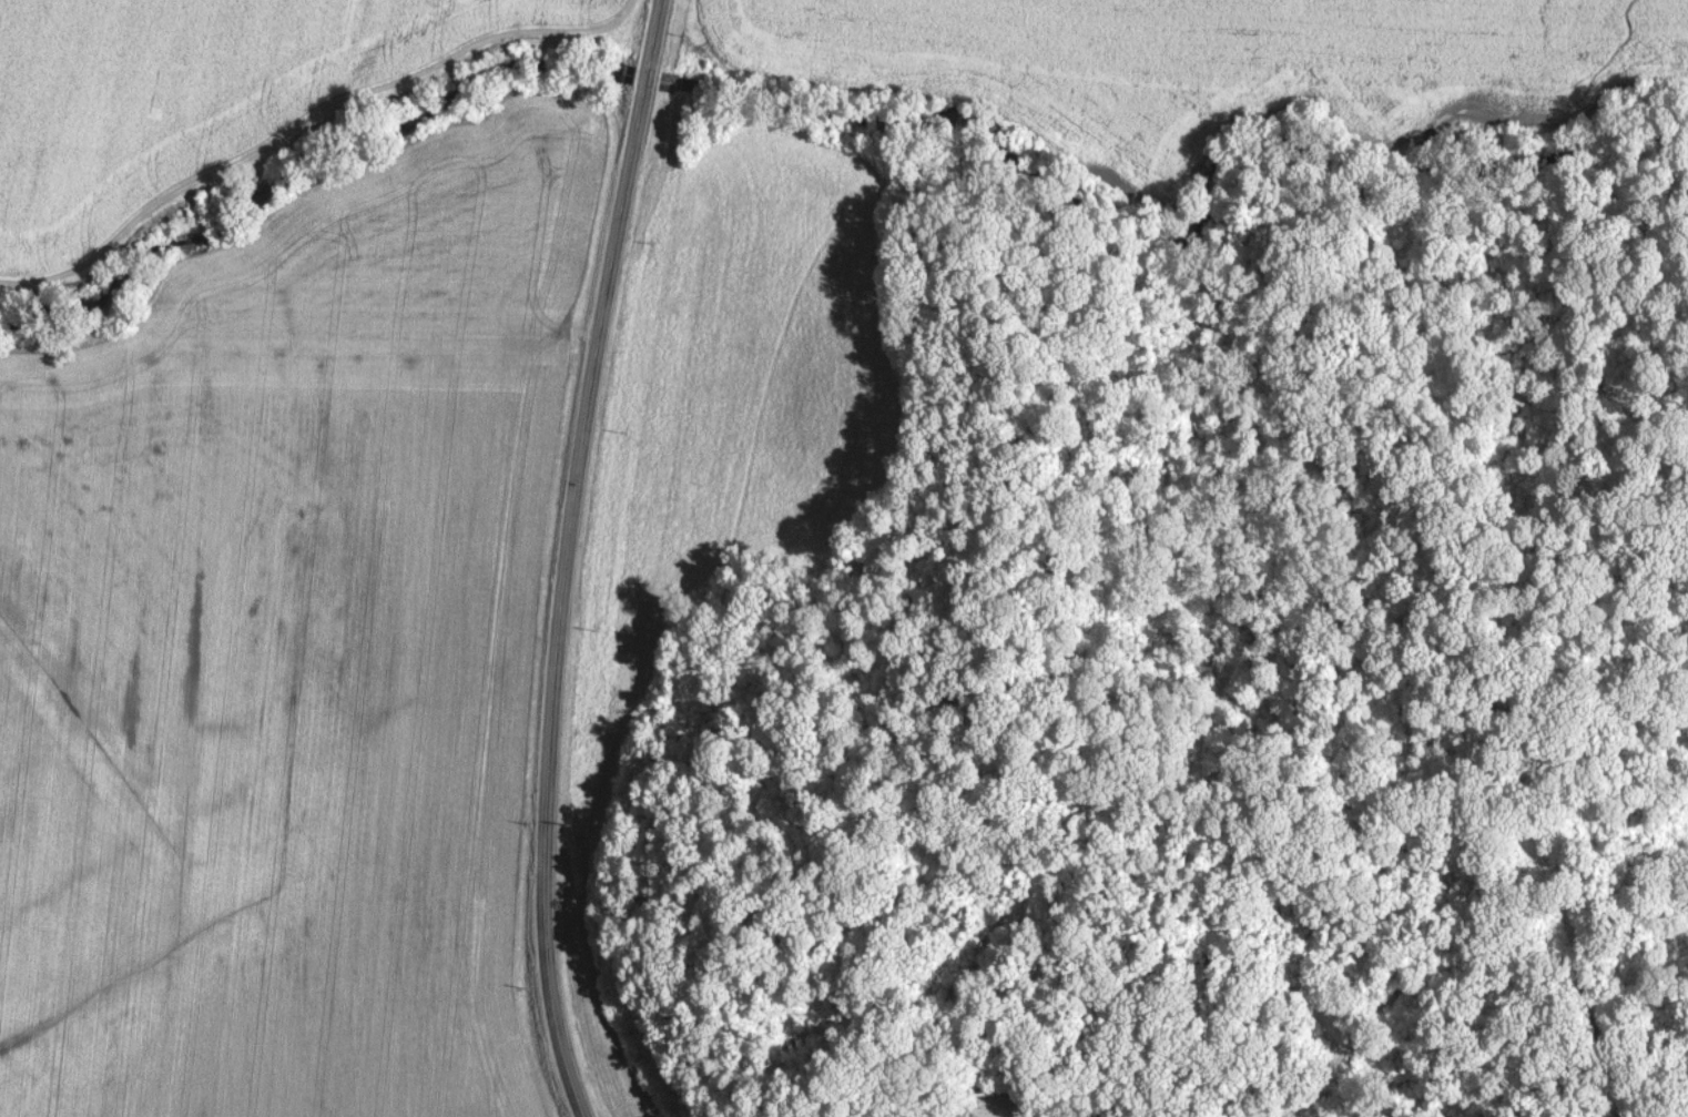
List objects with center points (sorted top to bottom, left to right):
road: (566, 557)

